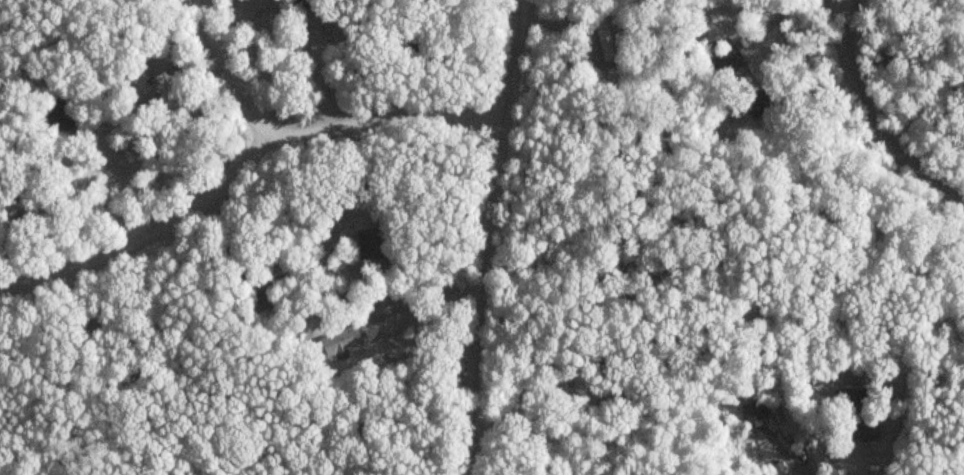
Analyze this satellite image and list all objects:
building: (604, 36)
building: (164, 56)
building: (728, 62)
road: (231, 72)
building: (140, 84)
building: (60, 113)
road: (874, 116)
road: (241, 166)
building: (2, 179)
building: (823, 210)
road: (486, 236)
building: (372, 242)
building: (248, 281)
building: (384, 306)
building: (342, 339)
building: (599, 363)
building: (752, 410)
building: (862, 412)
building: (790, 419)
building: (712, 474)

